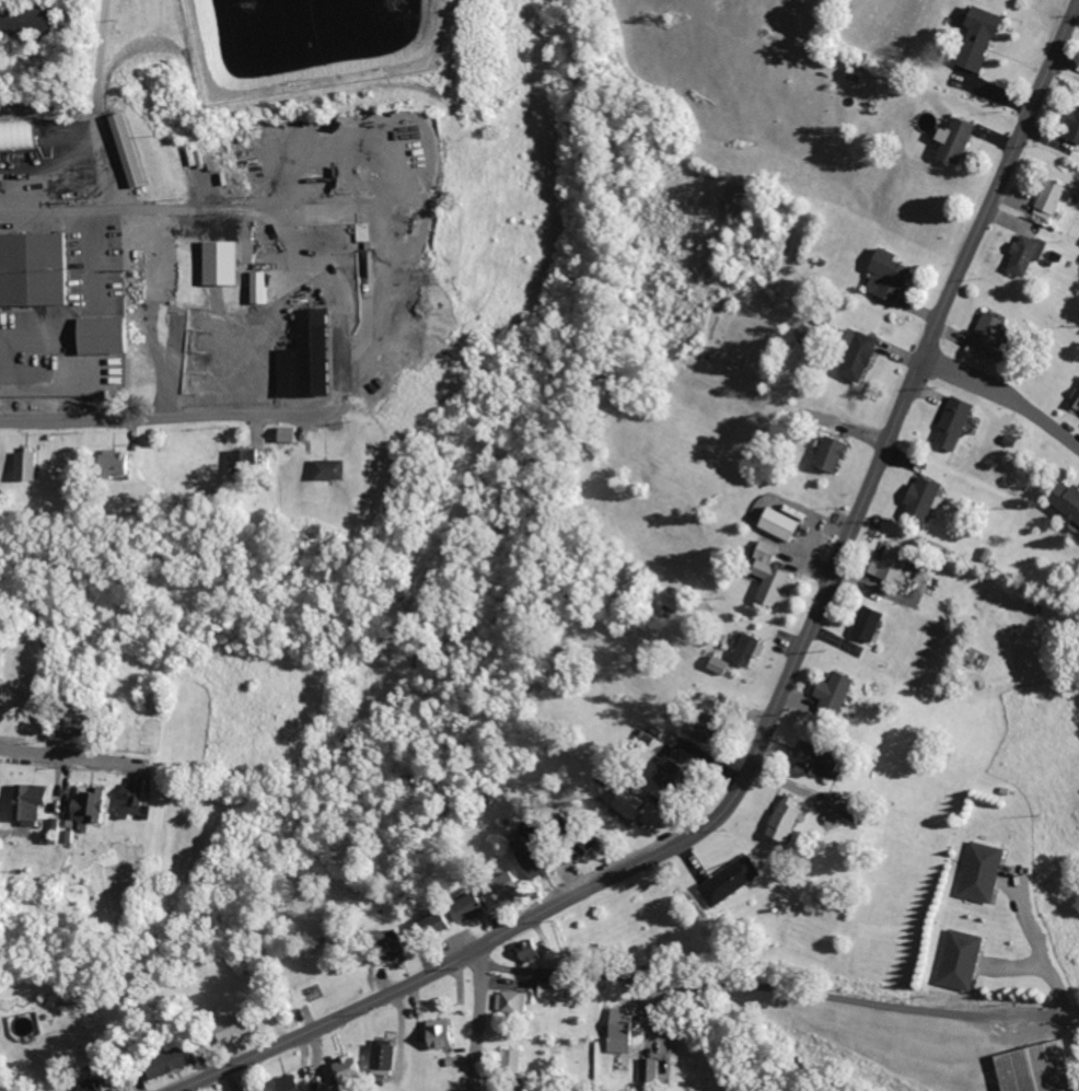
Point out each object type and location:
building: (973, 37)
wastewater plant: (314, 43)
building: (850, 73)
building: (1072, 125)
building: (951, 139)
building: (126, 148)
building: (1044, 199)
road: (55, 216)
building: (1020, 253)
building: (224, 262)
building: (30, 267)
building: (882, 275)
building: (255, 288)
building: (983, 333)
building: (100, 334)
building: (851, 355)
building: (309, 357)
road: (1003, 394)
building: (1075, 401)
road: (162, 413)
building: (948, 423)
building: (282, 433)
building: (825, 452)
building: (241, 455)
building: (109, 462)
building: (20, 465)
building: (324, 468)
building: (917, 499)
building: (1063, 501)
building: (775, 523)
building: (885, 567)
building: (765, 574)
building: (862, 623)
building: (743, 649)
building: (715, 664)
road: (780, 688)
building: (828, 693)
building: (688, 731)
building: (643, 736)
road: (63, 755)
building: (809, 759)
building: (662, 773)
building: (128, 798)
building: (25, 802)
building: (622, 802)
building: (88, 806)
building: (778, 819)
building: (578, 844)
building: (977, 871)
building: (724, 880)
building: (497, 885)
building: (462, 907)
building: (432, 925)
building: (385, 947)
building: (524, 950)
building: (954, 959)
road: (716, 984)
building: (548, 989)
road: (1058, 993)
building: (508, 1001)
road: (473, 1017)
building: (225, 1028)
building: (617, 1029)
building: (436, 1033)
building: (378, 1056)
building: (165, 1061)
building: (507, 1061)
building: (340, 1068)
building: (646, 1068)
building: (1029, 1068)
building: (285, 1082)
building: (84, 1087)
building: (254, 1089)
building: (318, 1090)

